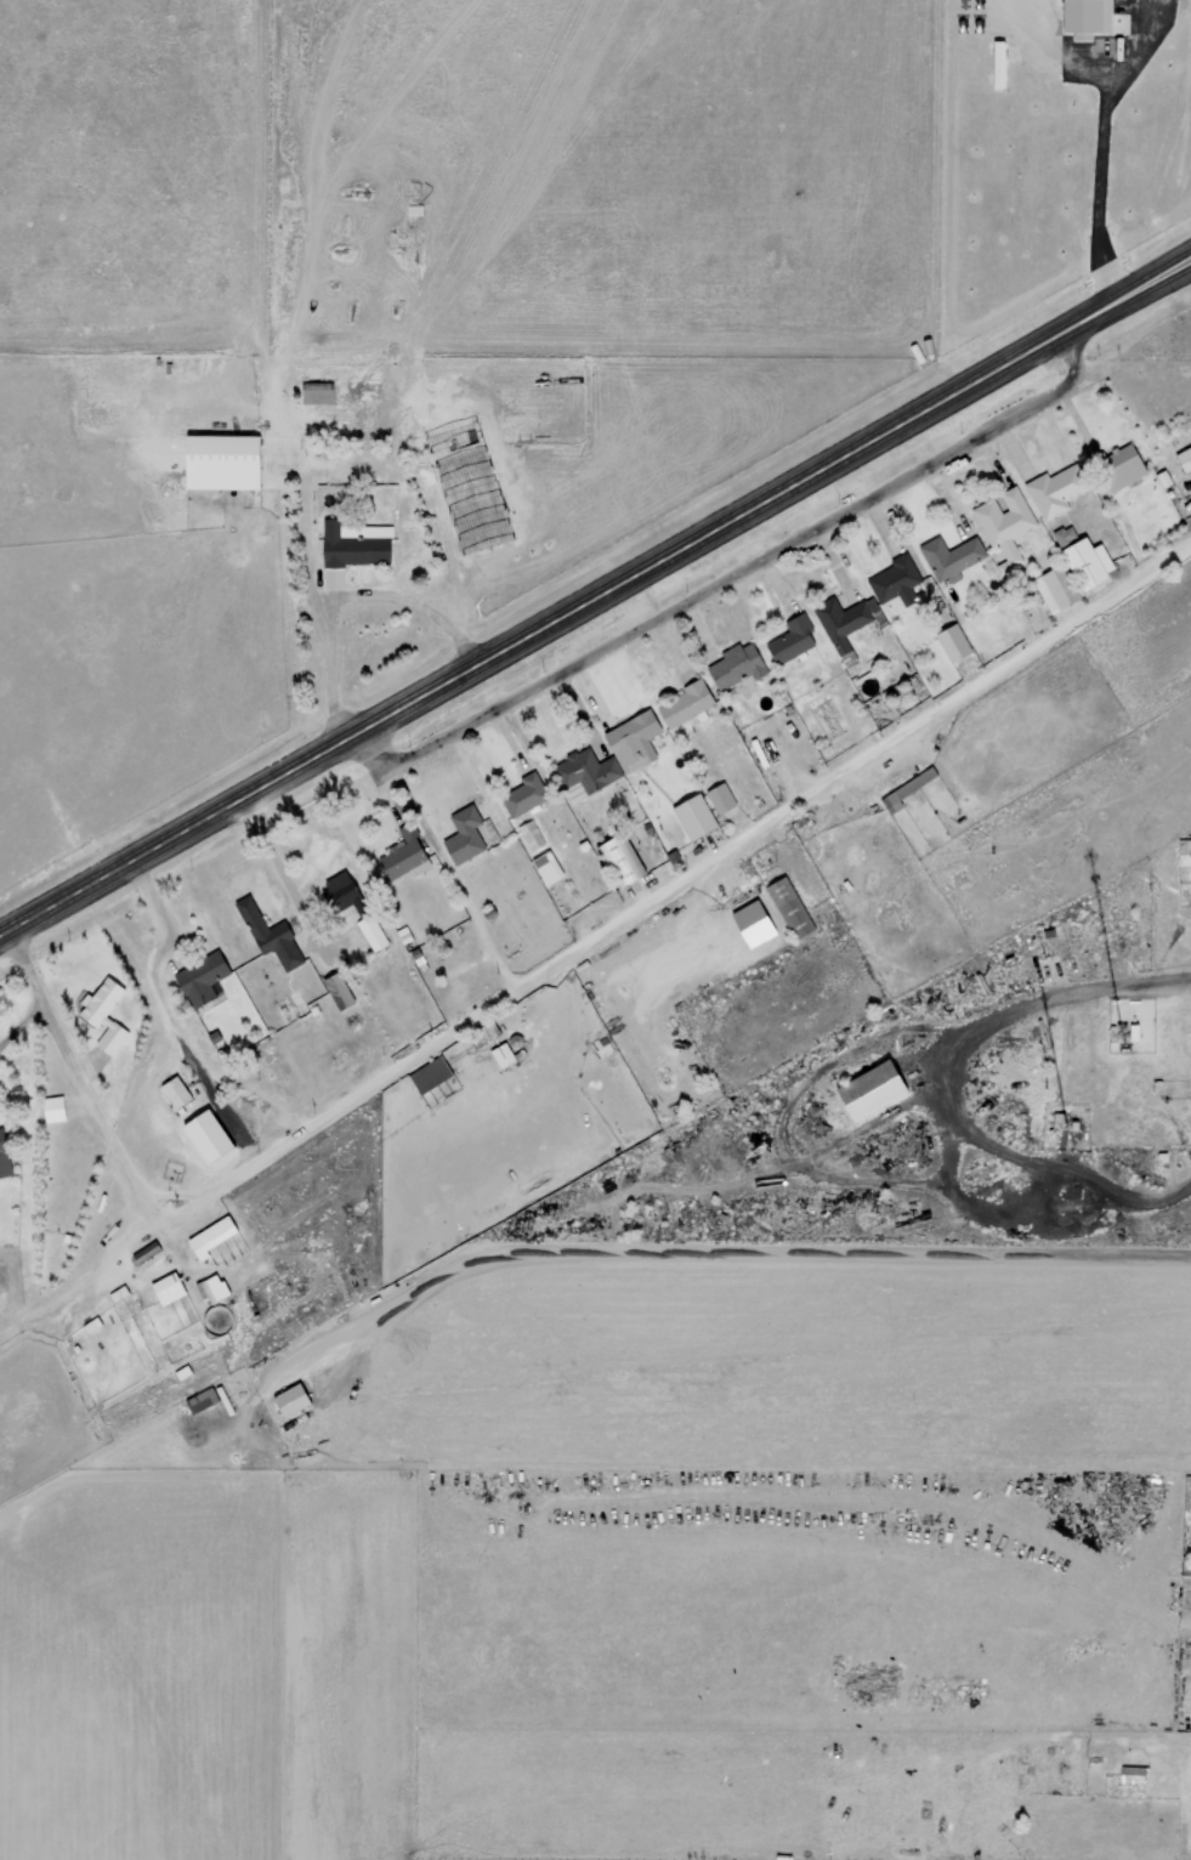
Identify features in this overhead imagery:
building: (1084, 15)
building: (1002, 56)
building: (373, 385)
building: (319, 392)
building: (1185, 459)
building: (228, 461)
building: (1123, 466)
building: (1059, 489)
building: (1006, 521)
building: (1066, 534)
building: (356, 545)
building: (952, 555)
building: (1093, 562)
building: (897, 580)
building: (1059, 588)
road: (595, 590)
building: (846, 619)
building: (795, 639)
building: (957, 642)
road: (783, 643)
building: (738, 665)
building: (687, 703)
building: (636, 741)
building: (588, 771)
building: (911, 789)
building: (527, 794)
building: (724, 798)
building: (698, 817)
building: (466, 834)
building: (532, 834)
building: (407, 857)
building: (625, 860)
building: (551, 867)
building: (345, 889)
building: (793, 907)
building: (759, 923)
building: (373, 932)
building: (272, 935)
building: (204, 977)
building: (341, 991)
building: (107, 1014)
building: (432, 1074)
building: (880, 1088)
building: (178, 1091)
building: (5, 1156)
building: (212, 1237)
building: (148, 1252)
building: (170, 1288)
building: (215, 1289)
building: (120, 1293)
building: (296, 1400)
building: (1130, 1774)

